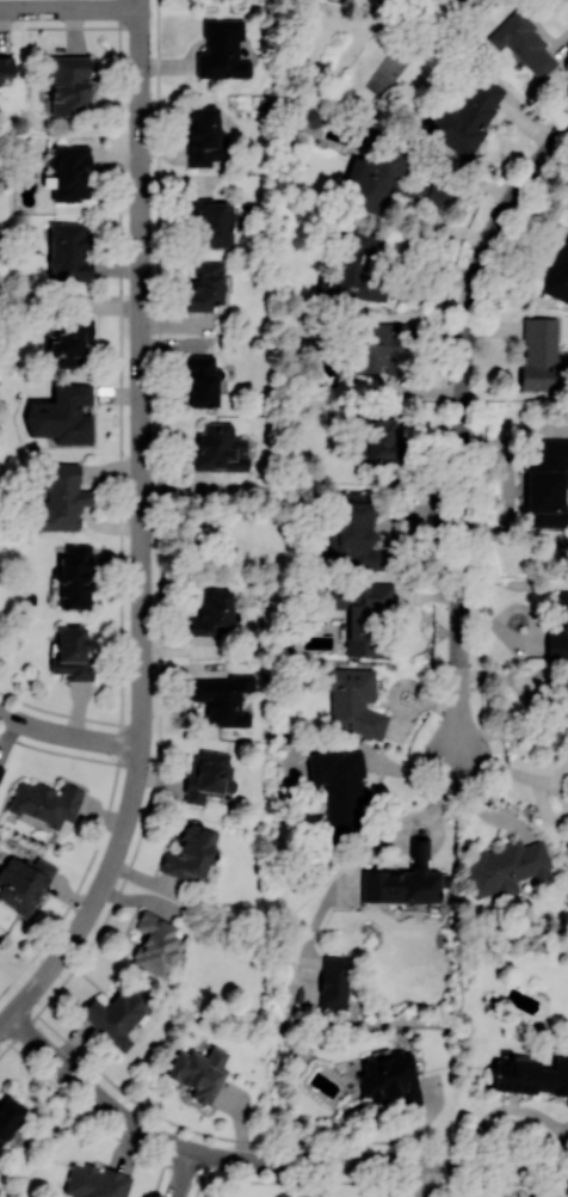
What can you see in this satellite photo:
building: (477, 0)
road: (69, 8)
building: (523, 43)
building: (222, 49)
building: (6, 67)
building: (69, 84)
building: (467, 116)
building: (204, 136)
building: (70, 172)
building: (391, 183)
building: (212, 221)
building: (69, 252)
building: (357, 269)
building: (555, 274)
building: (205, 286)
building: (382, 344)
building: (538, 354)
road: (141, 374)
building: (203, 381)
building: (61, 415)
road: (461, 425)
building: (379, 440)
building: (218, 449)
building: (548, 484)
road: (508, 489)
building: (62, 498)
building: (356, 530)
building: (74, 576)
building: (211, 613)
building: (360, 613)
building: (558, 632)
building: (73, 653)
building: (222, 698)
building: (353, 701)
building: (564, 701)
road: (68, 736)
building: (0, 771)
road: (514, 773)
building: (208, 775)
building: (340, 787)
building: (45, 802)
building: (190, 854)
building: (506, 867)
building: (405, 880)
building: (23, 882)
road: (94, 901)
building: (153, 944)
building: (334, 982)
building: (116, 1014)
building: (199, 1072)
building: (531, 1075)
building: (389, 1078)
road: (520, 1109)
building: (10, 1115)
road: (265, 1162)
road: (183, 1174)
road: (427, 1179)
building: (95, 1181)

